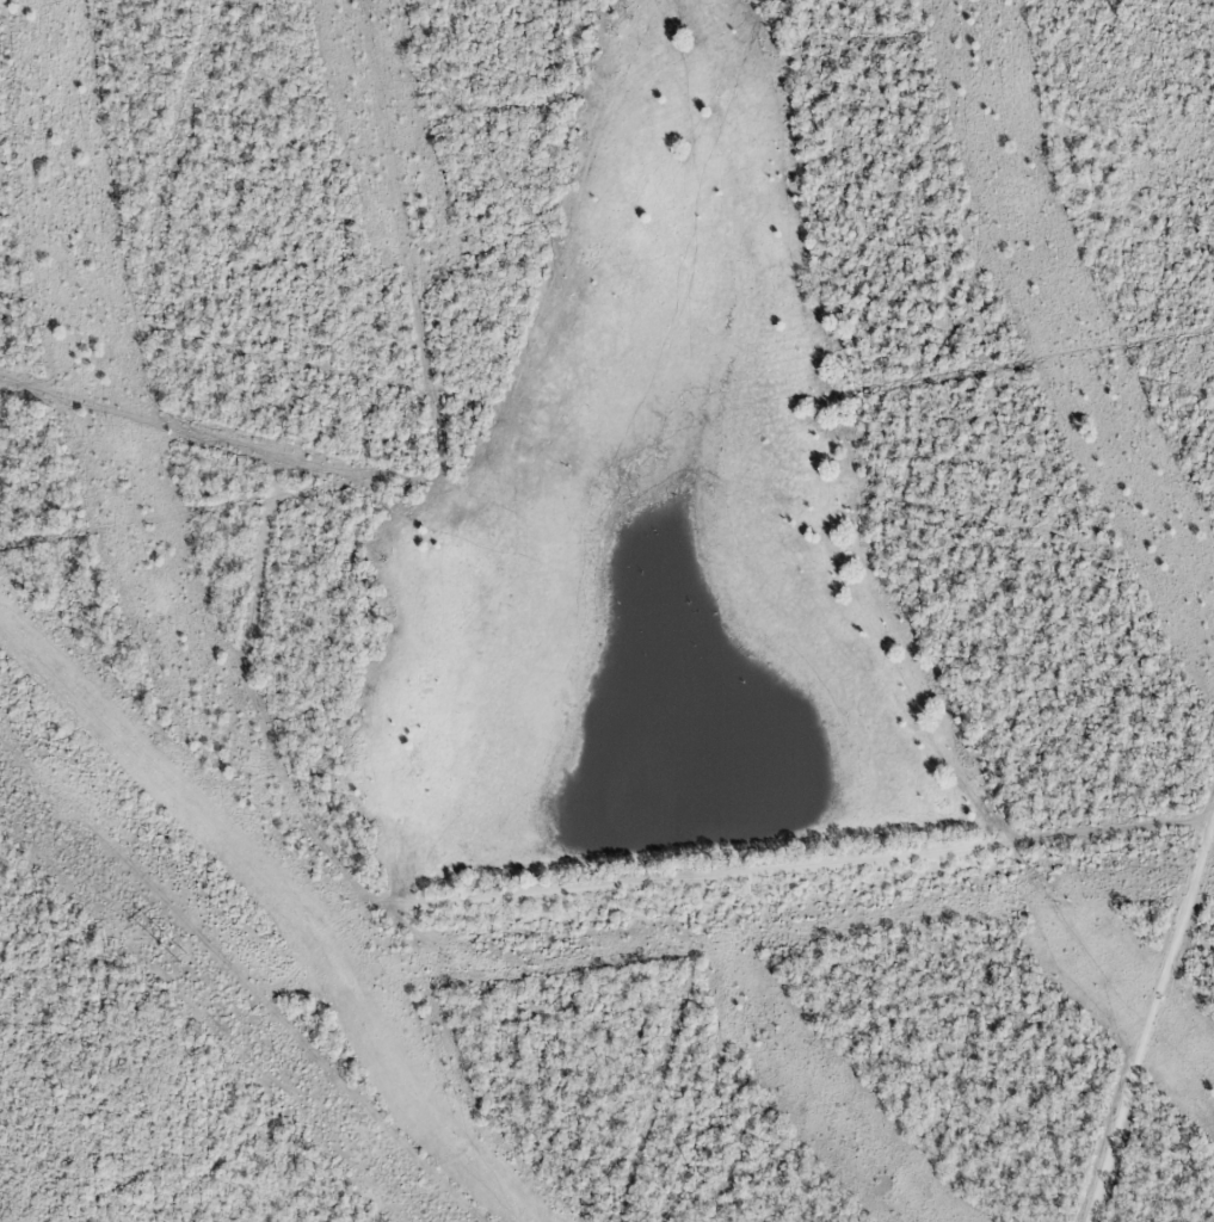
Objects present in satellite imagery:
power tower: (183, 959)

